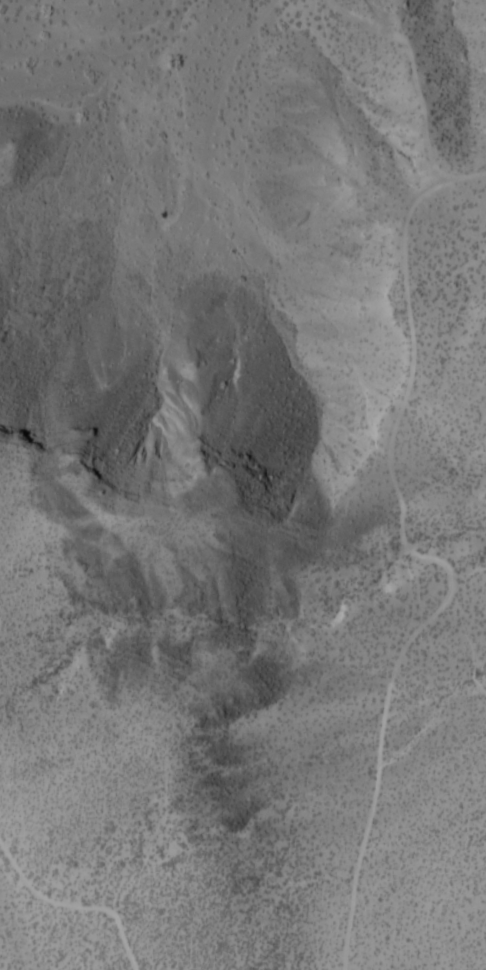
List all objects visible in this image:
road: (255, 205)
road: (394, 688)
road: (73, 907)

